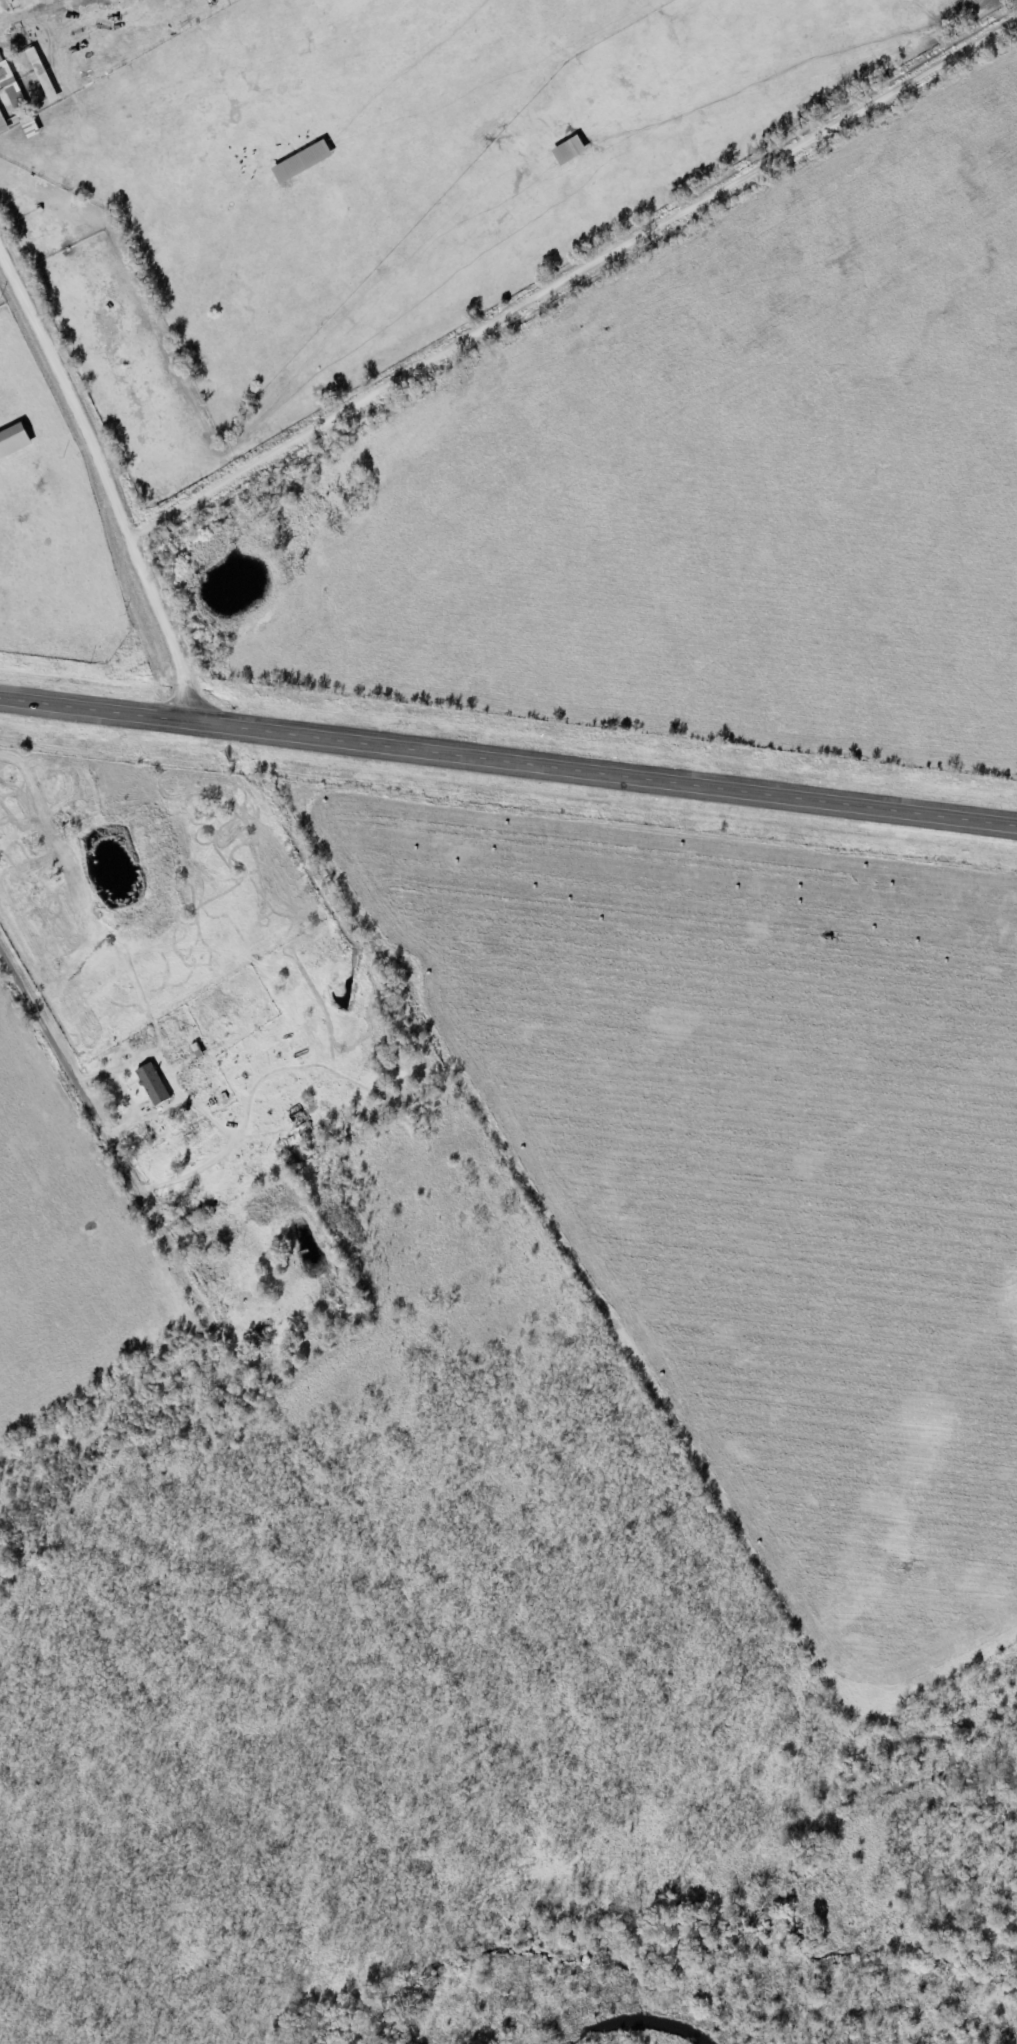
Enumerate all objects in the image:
building: (46, 75)
building: (573, 150)
building: (306, 162)
road: (576, 278)
road: (72, 383)
building: (16, 441)
road: (158, 590)
road: (508, 748)
building: (157, 1085)
building: (306, 1130)
road: (736, 1334)
road: (876, 1346)
road: (722, 1887)

